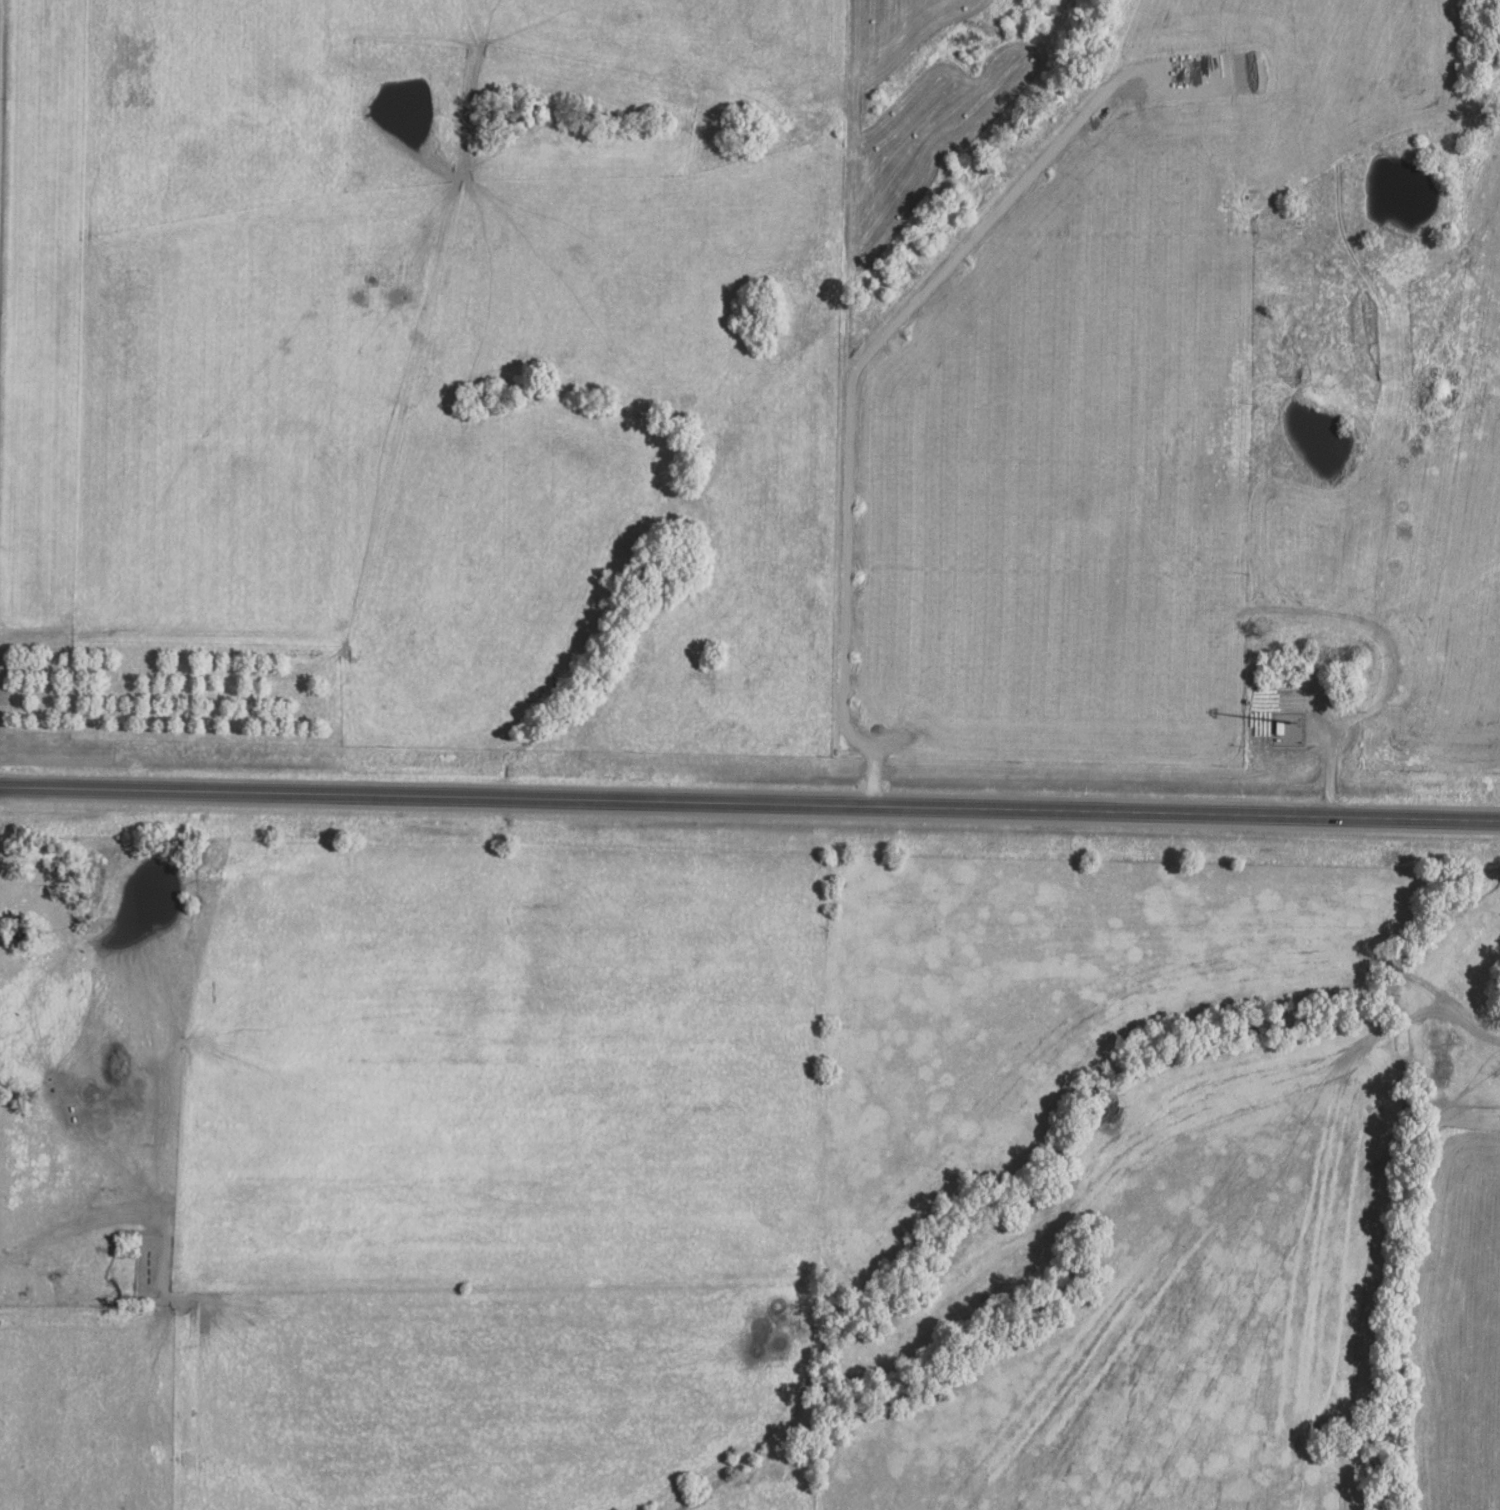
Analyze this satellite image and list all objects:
road: (750, 804)

